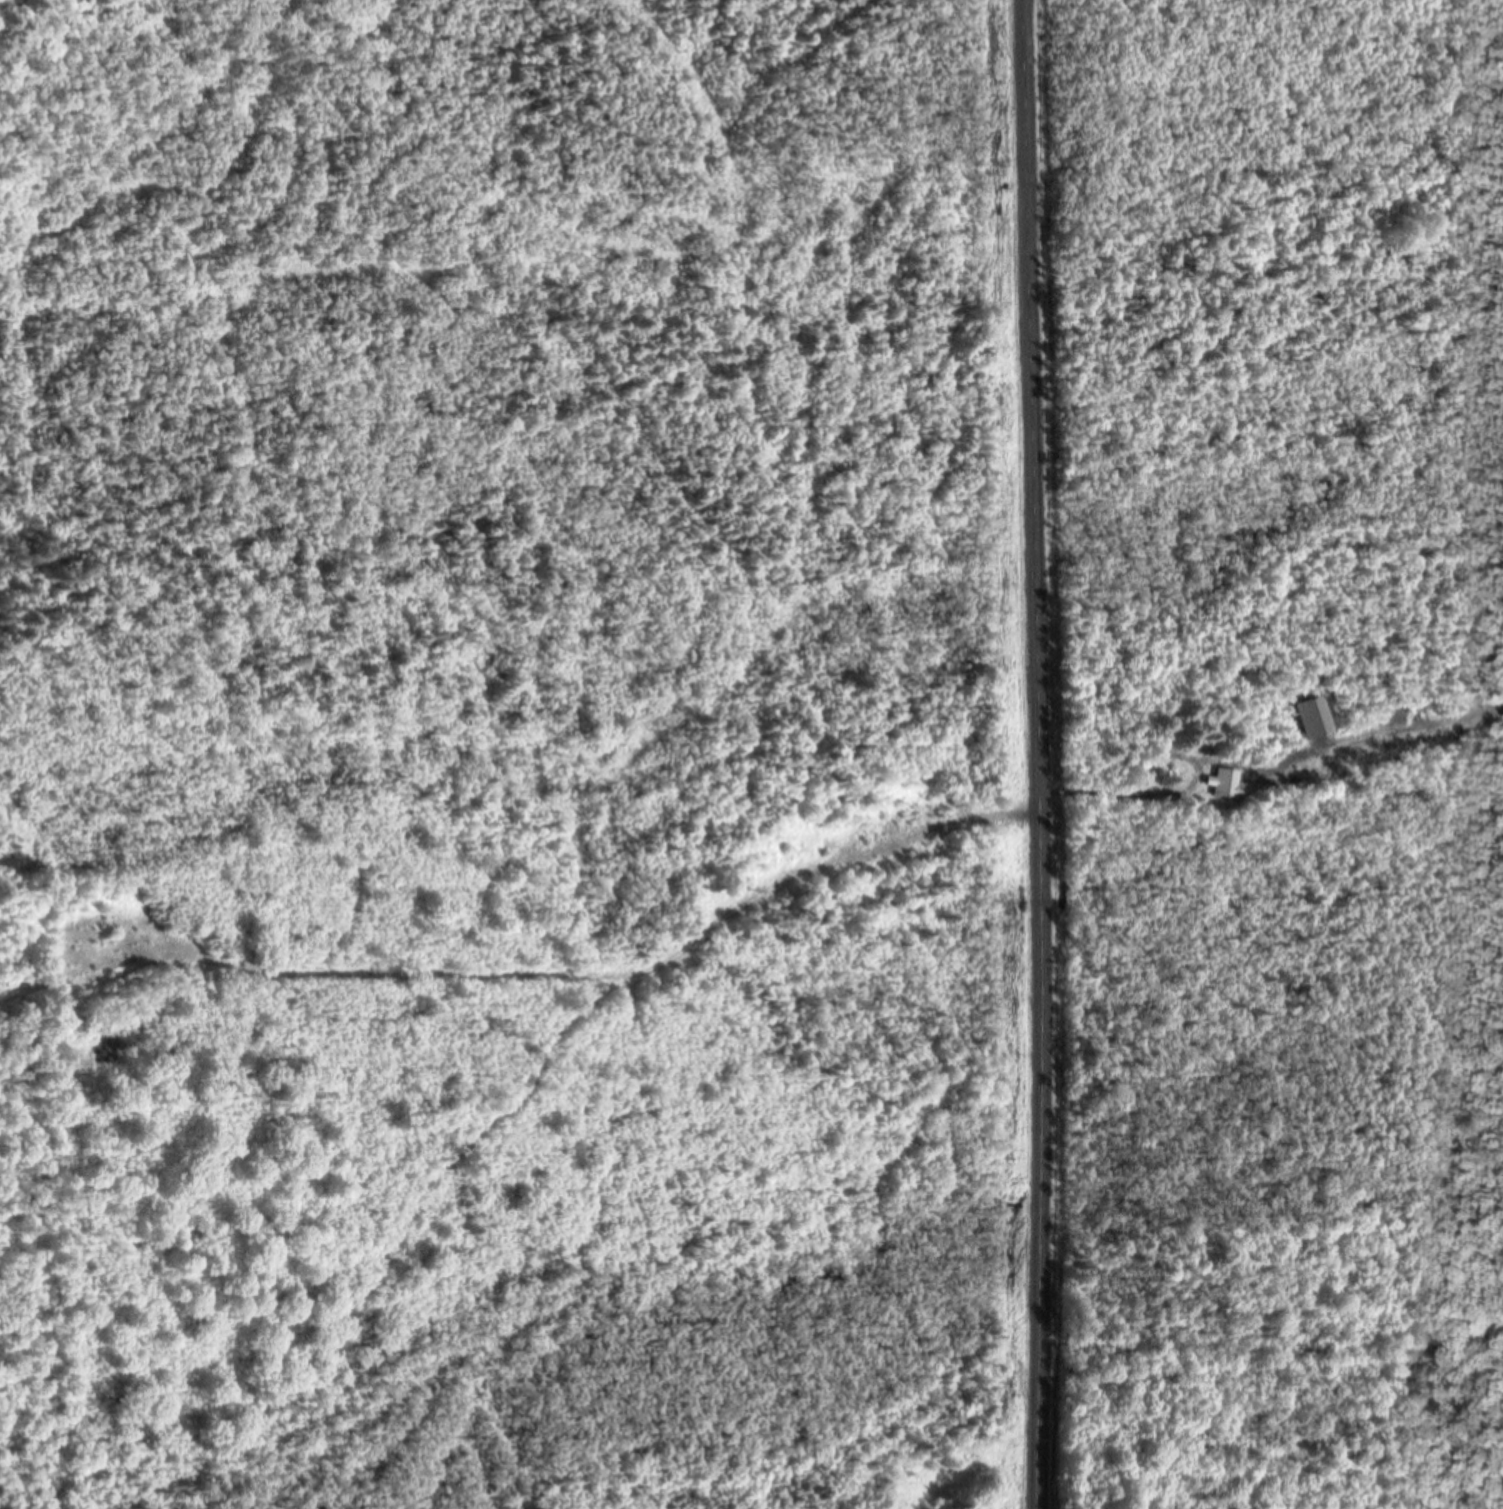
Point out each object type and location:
road: (1042, 754)
building: (1223, 785)

